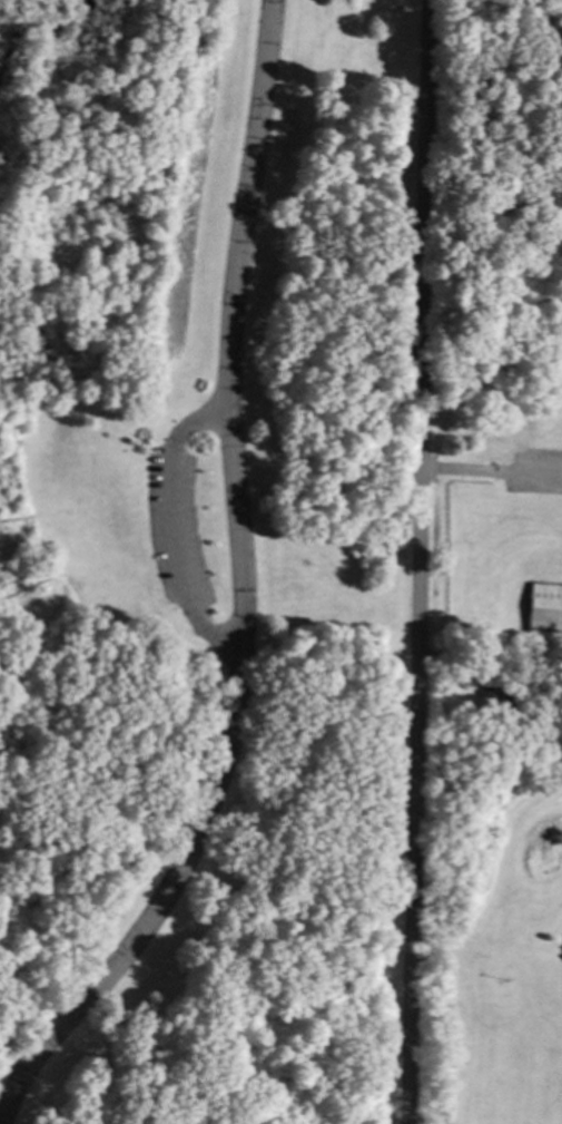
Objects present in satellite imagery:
road: (92, 110)
park: (494, 330)
road: (86, 450)
road: (489, 472)
road: (172, 527)
parking lot: (174, 530)
park: (204, 557)
road: (415, 561)
road: (240, 592)
building: (544, 607)
building: (490, 702)
park: (496, 937)
park: (177, 1122)

